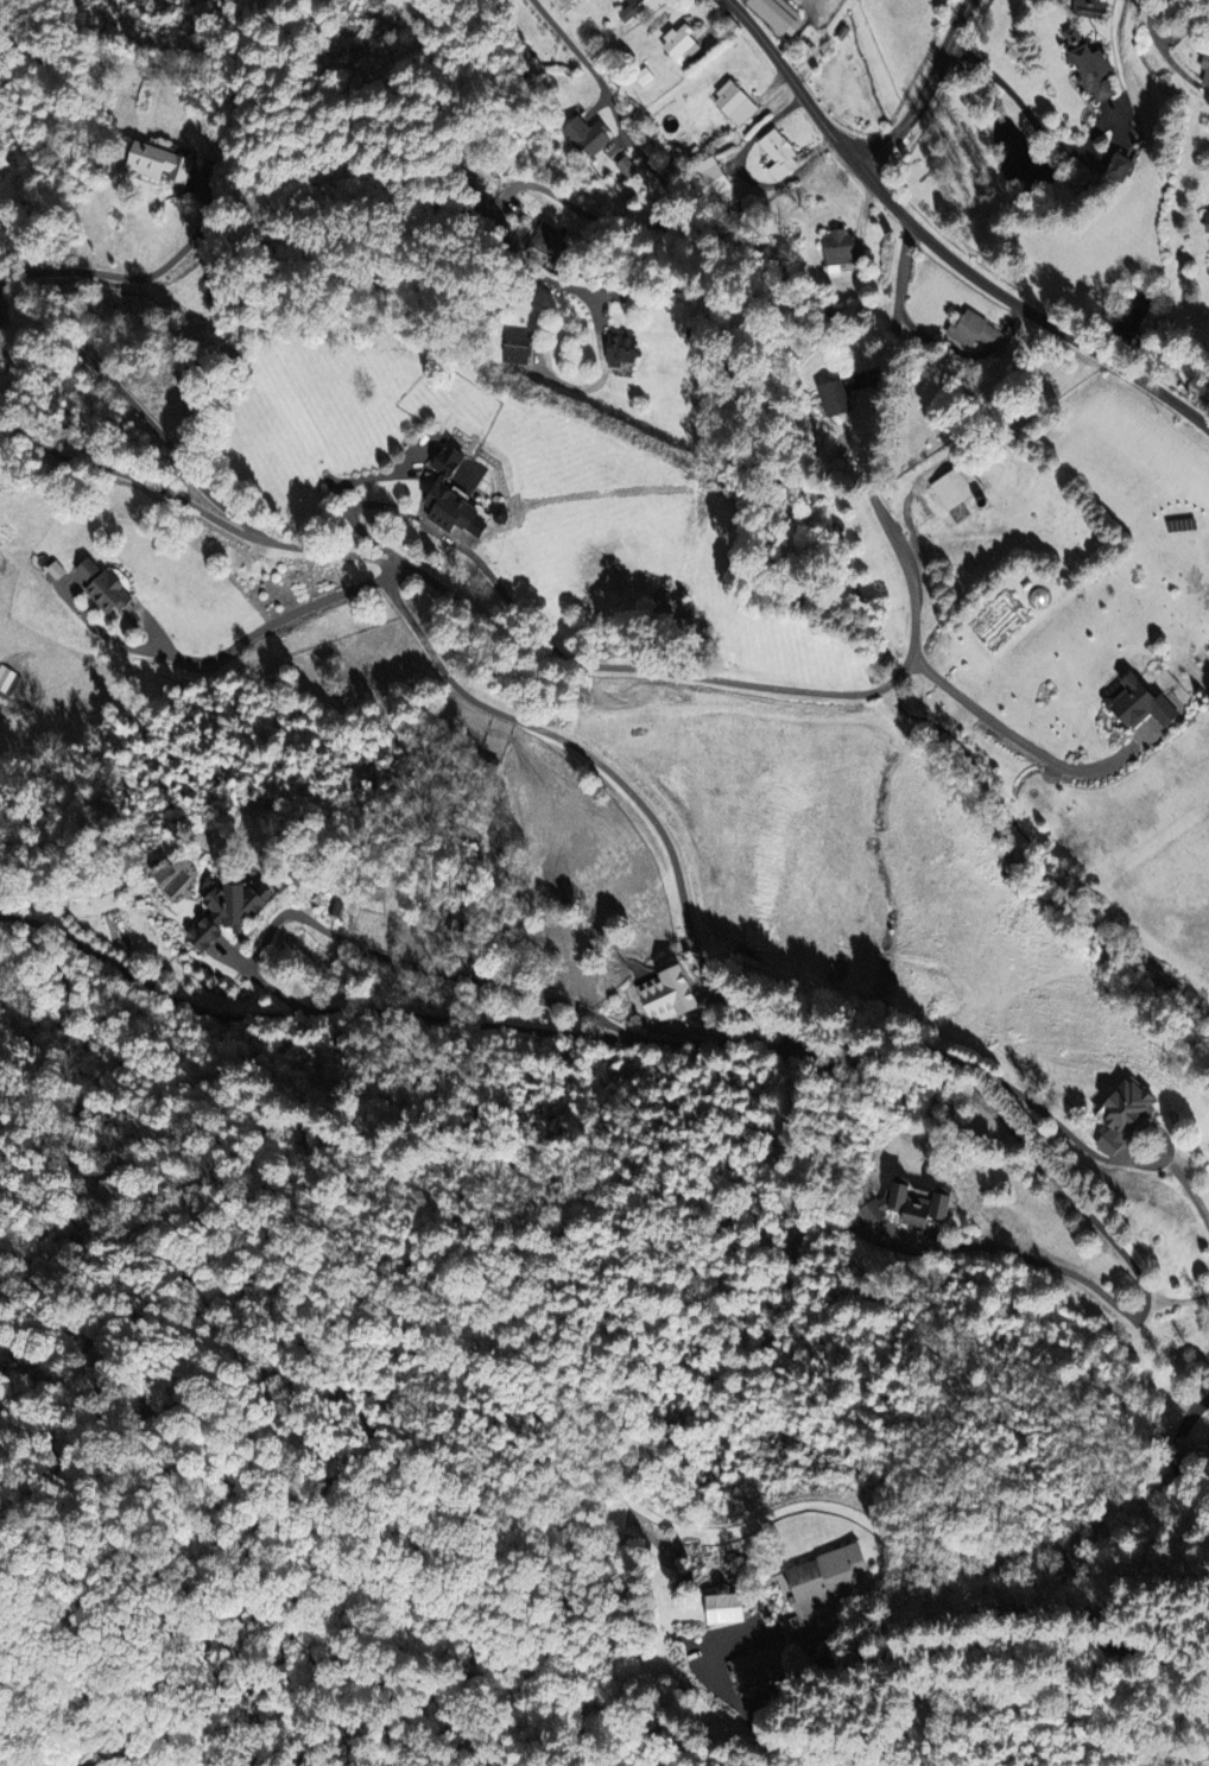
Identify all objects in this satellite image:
building: (638, 7)
building: (1089, 8)
building: (779, 17)
building: (681, 44)
road: (1161, 46)
building: (1090, 65)
building: (1205, 70)
road: (920, 88)
building: (735, 103)
road: (1026, 110)
building: (585, 135)
building: (780, 154)
building: (160, 163)
building: (626, 166)
building: (1121, 167)
building: (709, 177)
road: (559, 198)
building: (1208, 224)
building: (550, 239)
road: (936, 248)
building: (840, 251)
road: (133, 277)
building: (977, 333)
building: (515, 346)
building: (622, 349)
building: (836, 398)
road: (140, 412)
building: (957, 488)
building: (455, 489)
building: (56, 569)
building: (106, 587)
road: (226, 650)
road: (659, 671)
building: (1133, 703)
road: (1009, 733)
road: (607, 771)
building: (232, 909)
building: (671, 994)
road: (369, 1011)
road: (989, 1101)
building: (1116, 1112)
road: (1058, 1125)
road: (1144, 1128)
road: (1189, 1190)
building: (905, 1208)
road: (1040, 1261)
road: (1177, 1302)
road: (1182, 1447)
road: (956, 1588)
building: (719, 1608)
building: (796, 1609)
road: (80, 1685)
road: (119, 1755)

